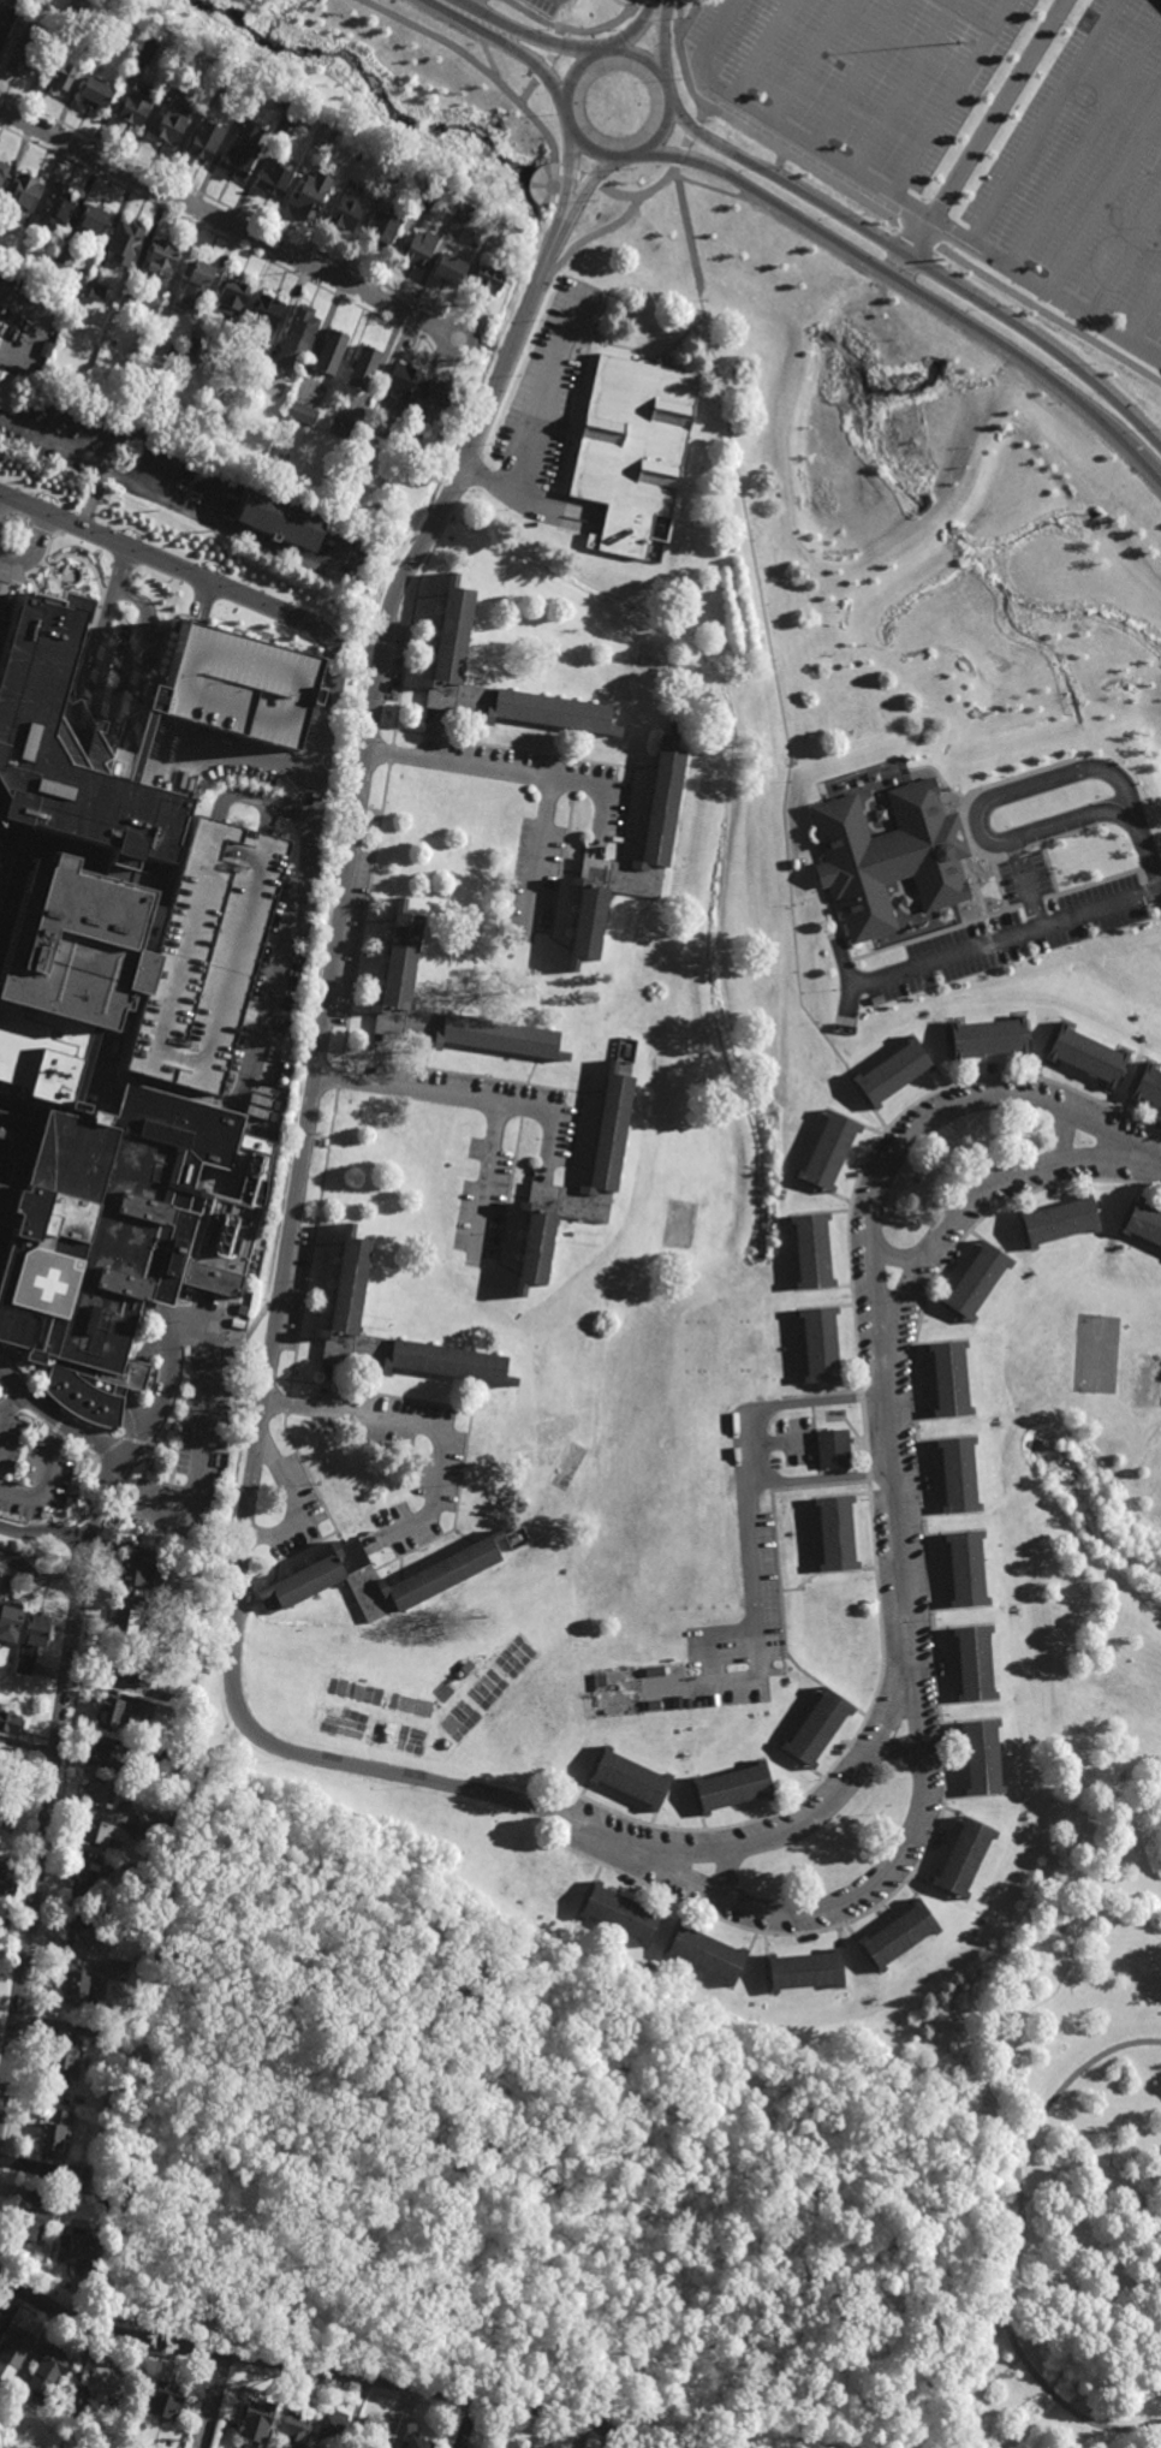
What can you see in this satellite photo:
road: (463, 1)
road: (472, 1)
road: (448, 11)
building: (71, 12)
road: (680, 12)
road: (536, 14)
road: (567, 14)
road: (601, 25)
road: (637, 29)
building: (108, 31)
road: (531, 34)
road: (712, 40)
road: (662, 42)
building: (145, 48)
road: (553, 49)
road: (761, 49)
road: (487, 50)
building: (24, 53)
road: (526, 57)
road: (645, 59)
road: (808, 61)
building: (178, 64)
building: (62, 69)
road: (855, 73)
road: (531, 85)
road: (903, 87)
building: (96, 91)
road: (948, 97)
building: (281, 101)
road: (565, 105)
building: (133, 107)
building: (292, 112)
building: (171, 121)
road: (1047, 124)
building: (322, 135)
road: (660, 136)
parking lot: (980, 136)
road: (982, 138)
building: (204, 139)
road: (548, 139)
road: (718, 143)
road: (1084, 148)
building: (242, 150)
building: (356, 155)
road: (780, 161)
road: (702, 162)
building: (4, 171)
road: (568, 173)
building: (395, 177)
building: (275, 178)
road: (587, 188)
road: (716, 190)
building: (24, 192)
building: (429, 192)
building: (311, 194)
road: (874, 204)
road: (1105, 204)
building: (55, 206)
building: (347, 212)
building: (463, 212)
road: (925, 219)
building: (91, 220)
building: (499, 221)
road: (228, 224)
building: (382, 228)
building: (126, 242)
building: (419, 249)
building: (64, 256)
building: (24, 260)
road: (1124, 260)
building: (159, 262)
building: (449, 268)
building: (489, 277)
building: (195, 287)
building: (93, 292)
building: (232, 293)
road: (977, 298)
road: (538, 309)
road: (6, 311)
building: (264, 316)
road: (1144, 316)
road: (976, 327)
building: (302, 328)
road: (482, 345)
road: (593, 347)
building: (46, 349)
building: (194, 349)
road: (489, 350)
building: (332, 351)
road: (508, 351)
building: (135, 352)
building: (365, 369)
building: (266, 372)
building: (159, 380)
building: (405, 381)
building: (204, 390)
building: (8, 391)
building: (442, 394)
building: (302, 411)
road: (537, 420)
building: (344, 429)
building: (404, 446)
road: (179, 451)
building: (635, 452)
road: (469, 473)
road: (91, 494)
road: (168, 504)
road: (559, 506)
building: (284, 512)
road: (431, 595)
road: (201, 604)
building: (79, 606)
road: (411, 616)
road: (443, 634)
building: (454, 640)
road: (773, 661)
building: (232, 689)
parking garage: (232, 689)
road: (417, 690)
road: (331, 705)
road: (374, 727)
road: (552, 729)
road: (478, 730)
road: (401, 731)
road: (311, 732)
road: (431, 735)
road: (431, 737)
road: (583, 748)
road: (136, 749)
road: (536, 754)
road: (391, 756)
road: (250, 762)
road: (645, 768)
road: (522, 777)
road: (574, 777)
building: (56, 786)
road: (238, 800)
road: (653, 800)
road: (292, 807)
road: (980, 810)
road: (267, 819)
road: (626, 819)
road: (1144, 840)
road: (635, 844)
building: (660, 856)
road: (347, 858)
road: (537, 861)
building: (888, 861)
road: (561, 867)
road: (631, 868)
road: (572, 873)
road: (1025, 883)
road: (364, 917)
road: (380, 923)
road: (574, 923)
road: (1010, 938)
road: (560, 946)
building: (71, 950)
building: (203, 953)
parking garage: (203, 953)
road: (389, 956)
building: (404, 962)
road: (363, 1015)
building: (989, 1038)
building: (8, 1039)
road: (499, 1052)
road: (349, 1054)
road: (428, 1054)
building: (1088, 1056)
road: (109, 1057)
road: (380, 1059)
storage tank: (288, 1060)
road: (381, 1062)
road: (532, 1071)
building: (892, 1071)
road: (82, 1073)
road: (1022, 1076)
storage tank: (286, 1077)
road: (487, 1077)
road: (339, 1079)
road: (165, 1082)
building: (1149, 1083)
road: (162, 1087)
road: (595, 1092)
road: (465, 1100)
road: (524, 1101)
road: (602, 1117)
road: (911, 1135)
road: (1062, 1139)
road: (574, 1140)
building: (828, 1151)
road: (1145, 1154)
road: (582, 1170)
building: (606, 1177)
road: (484, 1184)
road: (584, 1187)
road: (510, 1190)
road: (520, 1196)
road: (181, 1204)
road: (963, 1207)
building: (115, 1219)
building: (1061, 1222)
building: (1144, 1223)
road: (312, 1242)
road: (328, 1246)
road: (526, 1248)
building: (811, 1250)
road: (847, 1254)
road: (894, 1258)
road: (511, 1270)
helipad: (49, 1282)
building: (976, 1282)
building: (352, 1285)
road: (291, 1291)
road: (335, 1299)
road: (168, 1324)
road: (252, 1324)
road: (162, 1333)
road: (138, 1341)
building: (821, 1348)
road: (19, 1373)
road: (270, 1377)
road: (448, 1377)
building: (951, 1379)
road: (298, 1380)
road: (376, 1380)
road: (329, 1386)
road: (331, 1386)
road: (861, 1397)
road: (95, 1398)
road: (406, 1398)
road: (52, 1401)
road: (286, 1404)
road: (8, 1412)
road: (126, 1413)
road: (2, 1415)
road: (56, 1419)
road: (148, 1424)
road: (54, 1425)
road: (88, 1427)
road: (204, 1427)
road: (428, 1431)
road: (863, 1437)
road: (133, 1439)
road: (775, 1440)
road: (107, 1446)
road: (745, 1446)
road: (81, 1450)
building: (830, 1450)
road: (189, 1451)
road: (177, 1452)
road: (55, 1454)
road: (867, 1475)
building: (959, 1476)
road: (42, 1478)
road: (311, 1481)
road: (79, 1491)
road: (292, 1501)
road: (722, 1504)
road: (695, 1511)
road: (454, 1514)
road: (34, 1525)
road: (894, 1527)
road: (67, 1531)
road: (42, 1533)
building: (836, 1535)
road: (463, 1537)
road: (298, 1552)
road: (82, 1562)
road: (433, 1563)
parking lot: (716, 1564)
road: (401, 1568)
road: (302, 1570)
building: (968, 1570)
building: (139, 1571)
road: (824, 1571)
building: (334, 1574)
road: (778, 1575)
road: (36, 1577)
road: (84, 1602)
building: (11, 1618)
building: (125, 1620)
road: (232, 1629)
road: (731, 1633)
road: (934, 1639)
building: (32, 1641)
road: (758, 1663)
building: (976, 1664)
building: (132, 1670)
building: (111, 1711)
building: (10, 1722)
building: (144, 1725)
building: (820, 1729)
road: (898, 1752)
building: (153, 1753)
building: (107, 1757)
building: (983, 1758)
building: (6, 1759)
road: (840, 1759)
road: (392, 1775)
building: (633, 1778)
building: (734, 1789)
road: (836, 1790)
building: (101, 1792)
building: (148, 1819)
road: (572, 1822)
building: (144, 1831)
road: (599, 1831)
building: (97, 1832)
road: (41, 1844)
building: (968, 1859)
road: (724, 1872)
building: (149, 1877)
building: (87, 1880)
building: (8, 1884)
road: (47, 1894)
road: (821, 1907)
building: (621, 1913)
building: (88, 1925)
building: (901, 1936)
road: (12, 1949)
building: (707, 1953)
building: (115, 1967)
building: (805, 1971)
building: (79, 1981)
road: (1025, 2016)
building: (105, 2031)
building: (67, 2054)
road: (145, 2078)
park: (684, 2104)
road: (186, 2133)
building: (55, 2135)
road: (1097, 2175)
building: (75, 2180)
building: (106, 2200)
road: (571, 2200)
building: (32, 2212)
road: (1013, 2244)
building: (77, 2250)
road: (232, 2309)
building: (0, 2315)
road: (107, 2334)
road: (1096, 2336)
road: (97, 2347)
building: (14, 2351)
road: (826, 2351)
road: (220, 2366)
building: (47, 2370)
building: (105, 2381)
road: (431, 2387)
building: (77, 2398)
building: (167, 2400)
road: (213, 2401)
building: (257, 2423)
building: (76, 2426)
building: (294, 2426)
building: (332, 2431)
building: (371, 2434)
building: (417, 2443)

